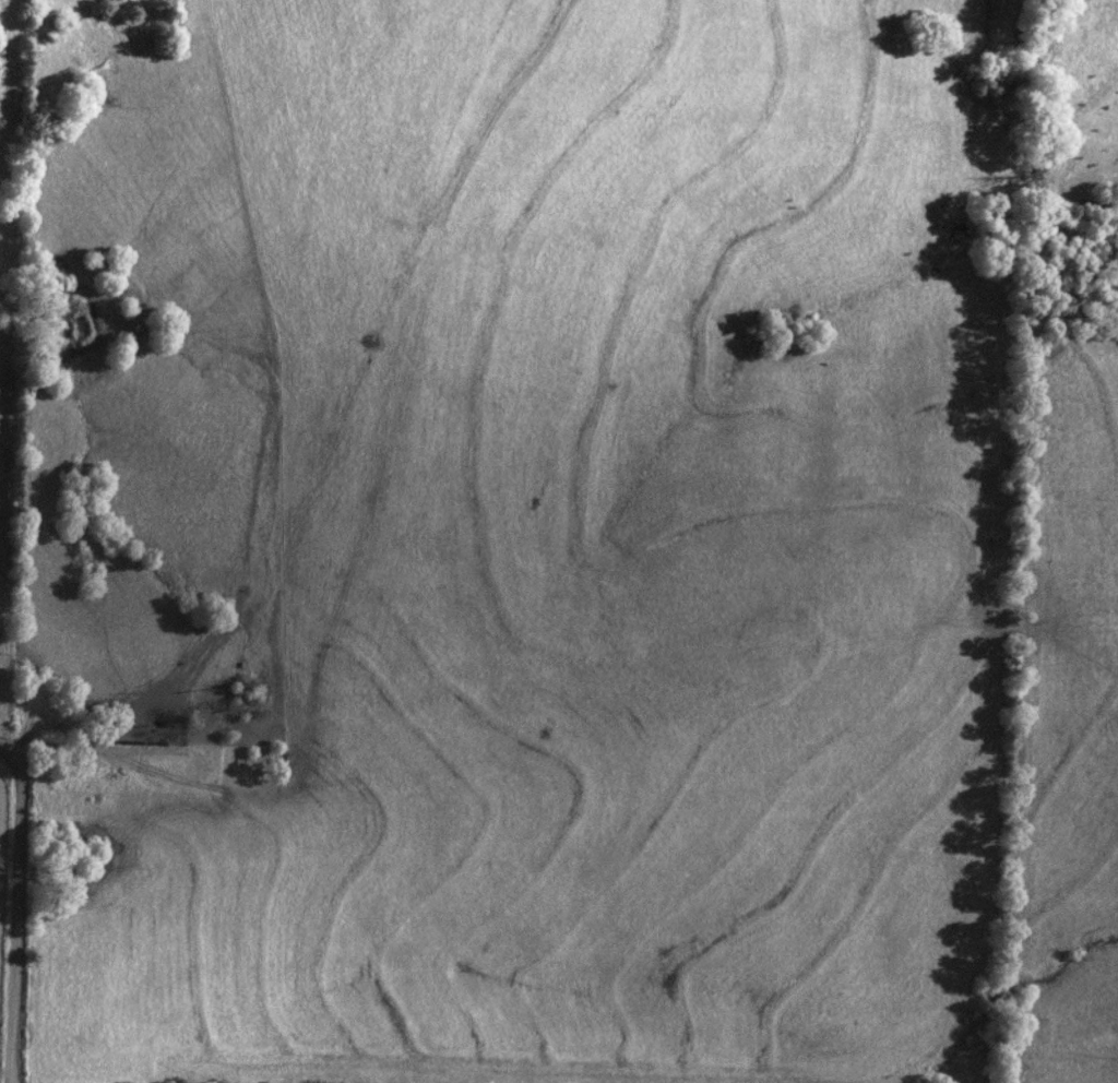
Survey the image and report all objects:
road: (15, 913)
road: (10, 1081)

